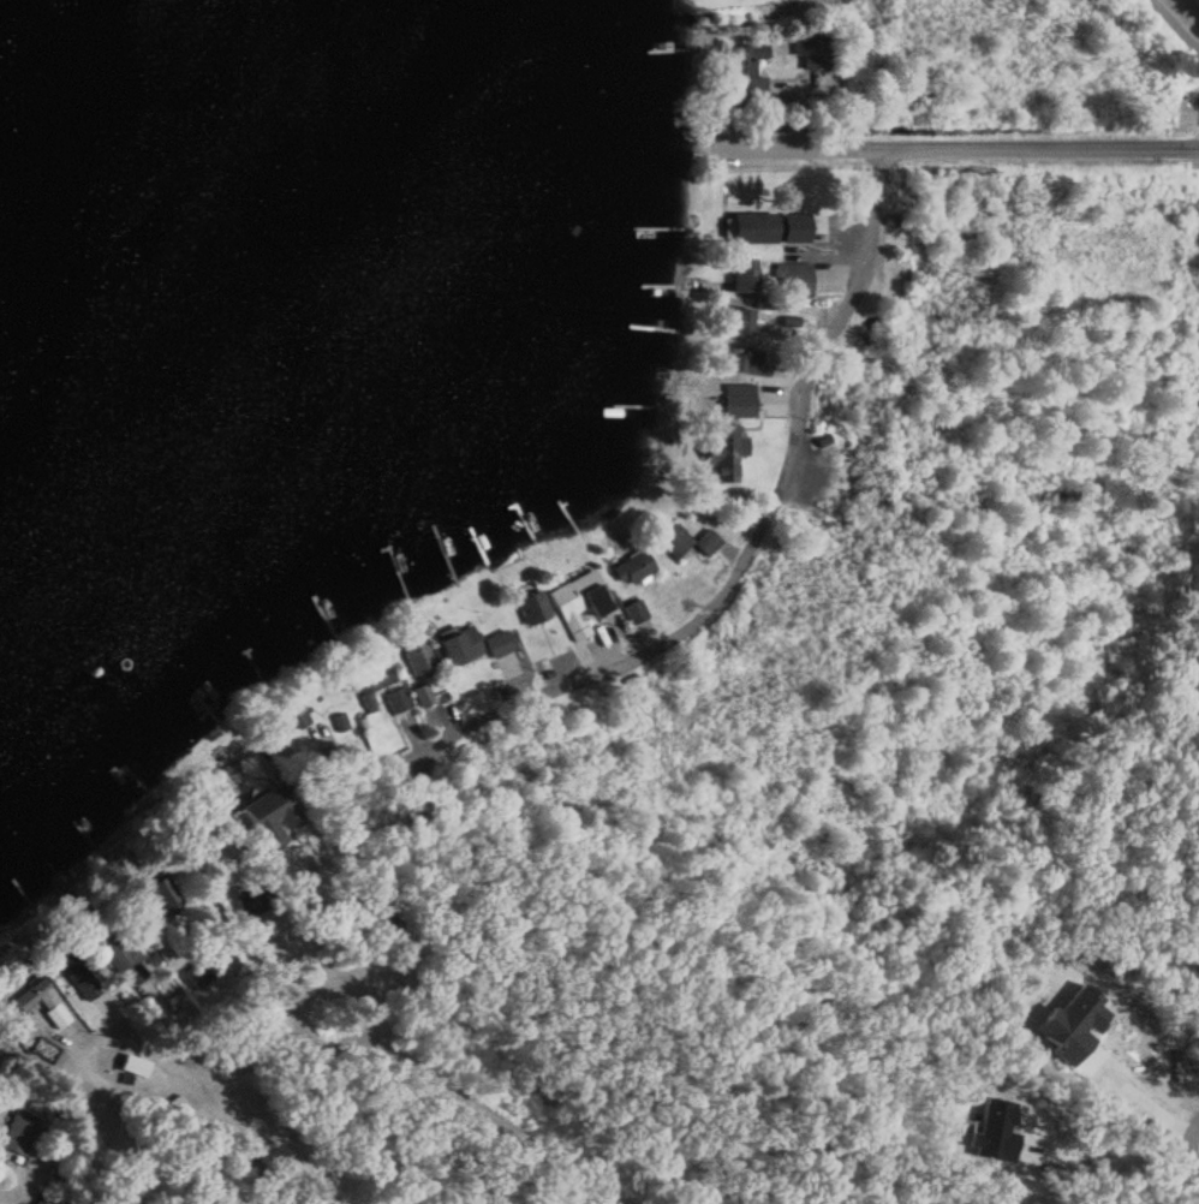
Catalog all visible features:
road: (1176, 25)
building: (813, 50)
building: (744, 72)
road: (1037, 147)
road: (769, 149)
building: (768, 233)
building: (793, 278)
building: (741, 279)
building: (733, 320)
building: (745, 365)
building: (736, 400)
building: (726, 442)
building: (685, 542)
road: (739, 564)
building: (631, 568)
building: (578, 603)
building: (531, 609)
building: (633, 613)
building: (496, 644)
building: (459, 646)
building: (374, 679)
building: (422, 696)
building: (396, 701)
building: (291, 711)
building: (268, 816)
building: (155, 899)
building: (253, 901)
road: (341, 910)
building: (378, 912)
building: (119, 950)
building: (77, 974)
building: (196, 974)
road: (241, 994)
building: (29, 995)
road: (299, 1000)
road: (199, 1071)
road: (1150, 1087)
road: (499, 1120)
building: (19, 1132)
road: (1191, 1145)
road: (1110, 1156)
building: (272, 1163)
road: (1189, 1196)
building: (41, 1202)
road: (0, 1203)

